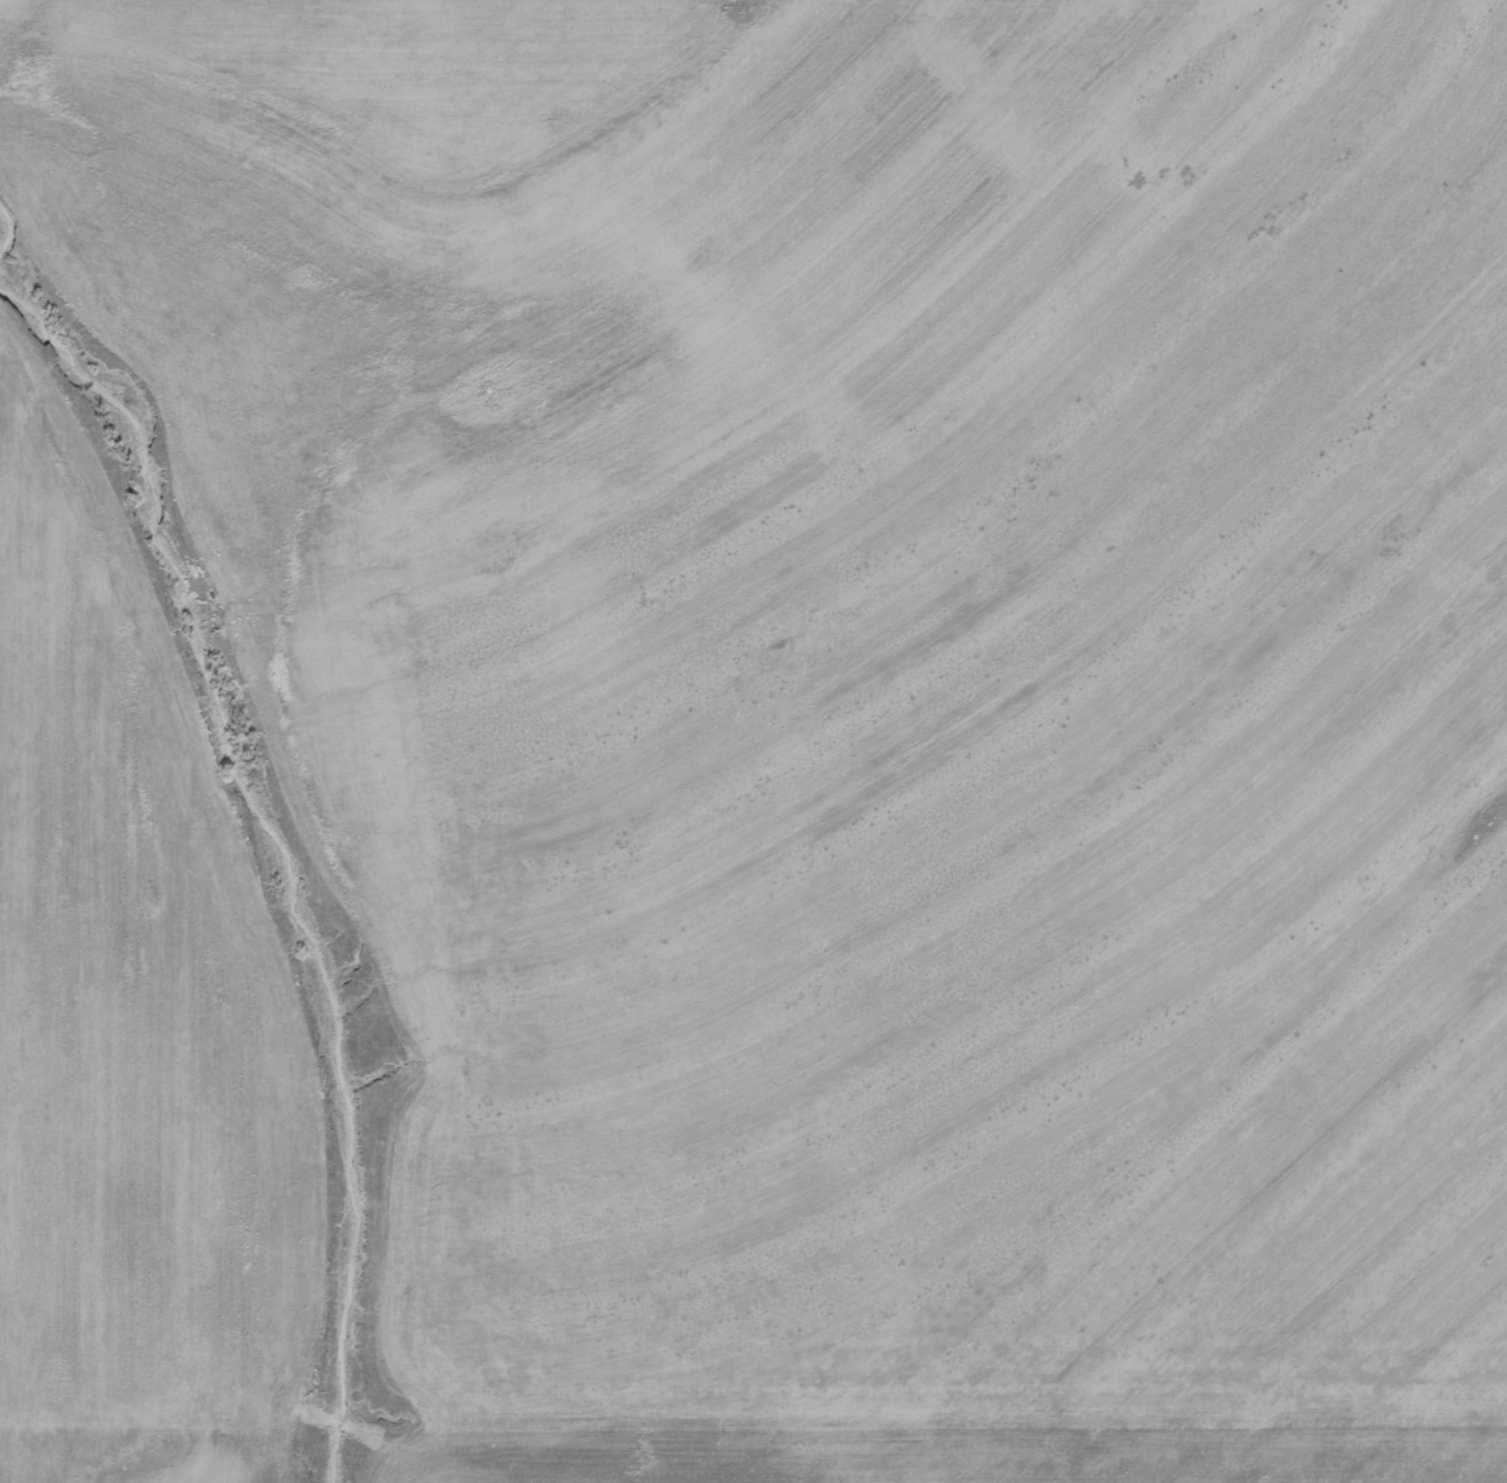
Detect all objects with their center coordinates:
road: (753, 1444)

